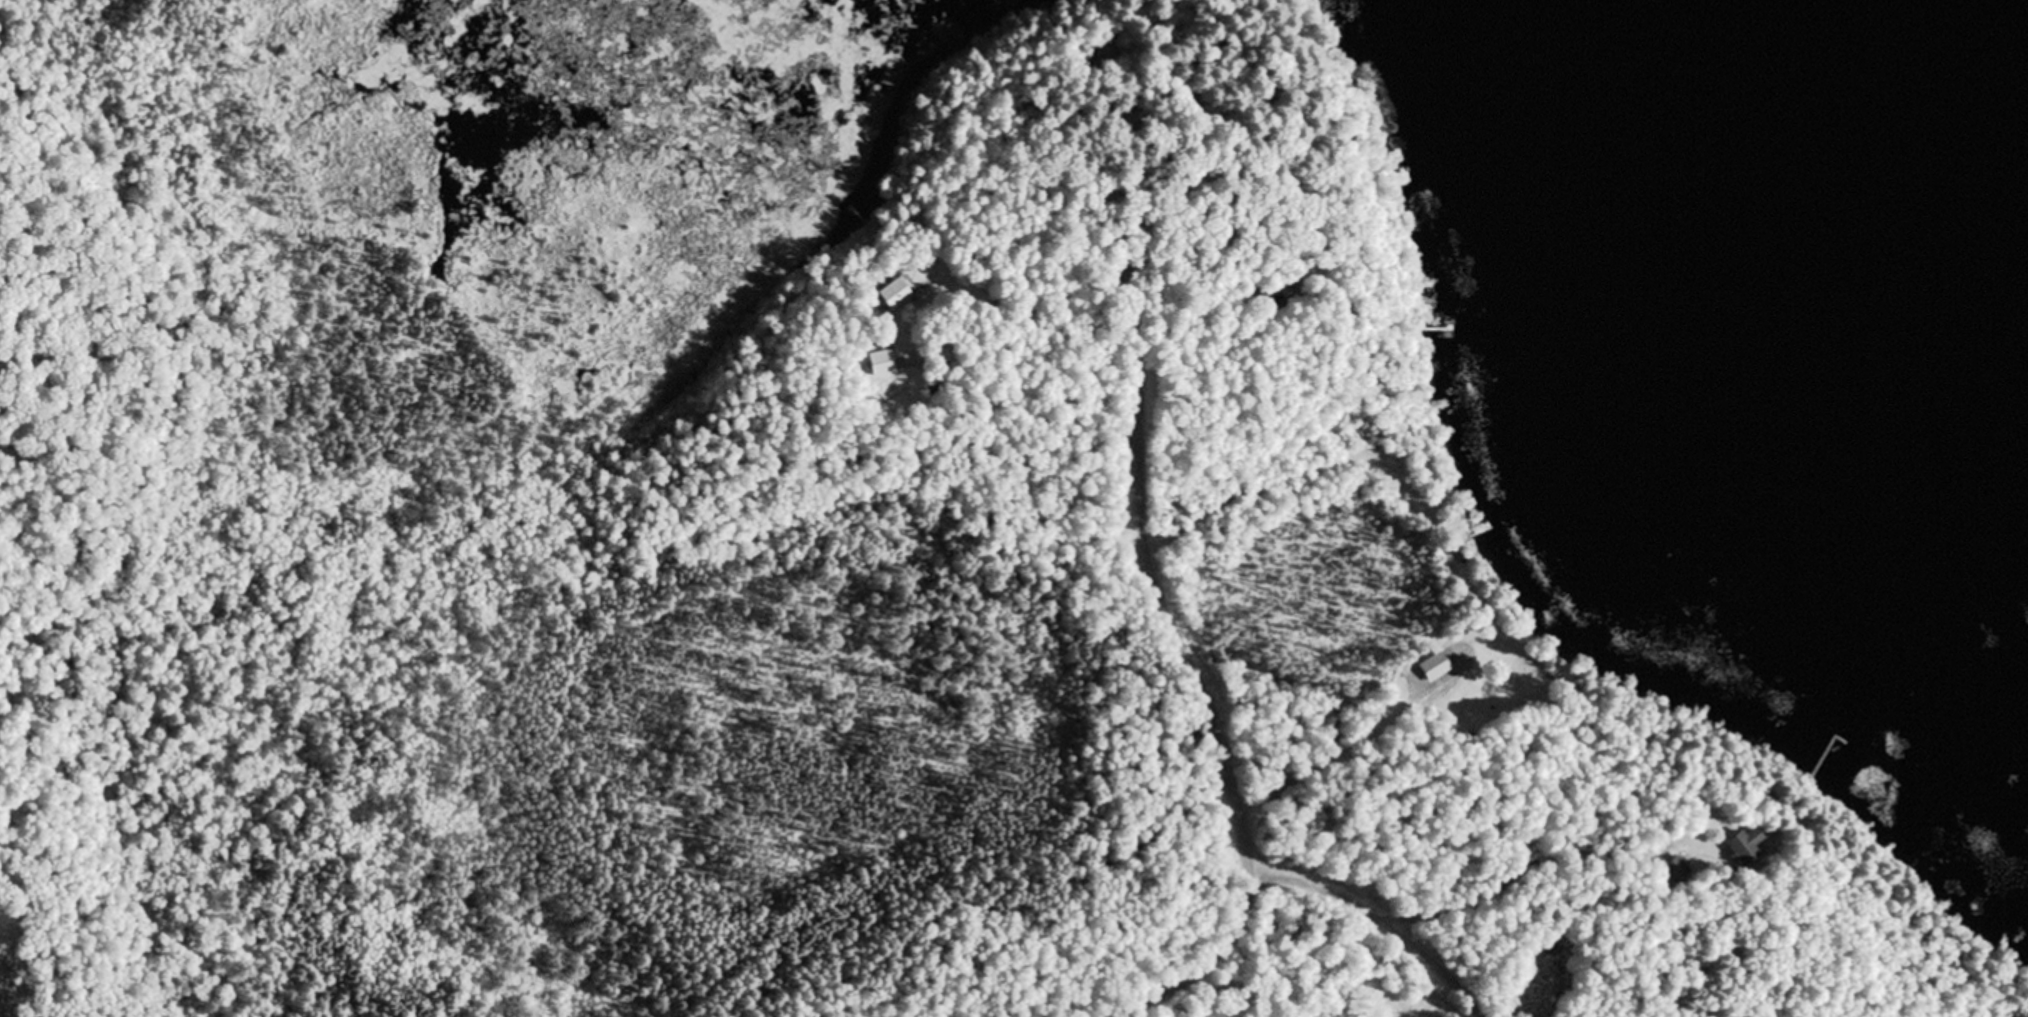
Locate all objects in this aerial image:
building: (891, 293)
building: (876, 365)
road: (1172, 639)
building: (1430, 668)
road: (1357, 734)
building: (1740, 847)
building: (1676, 870)
road: (1383, 916)

